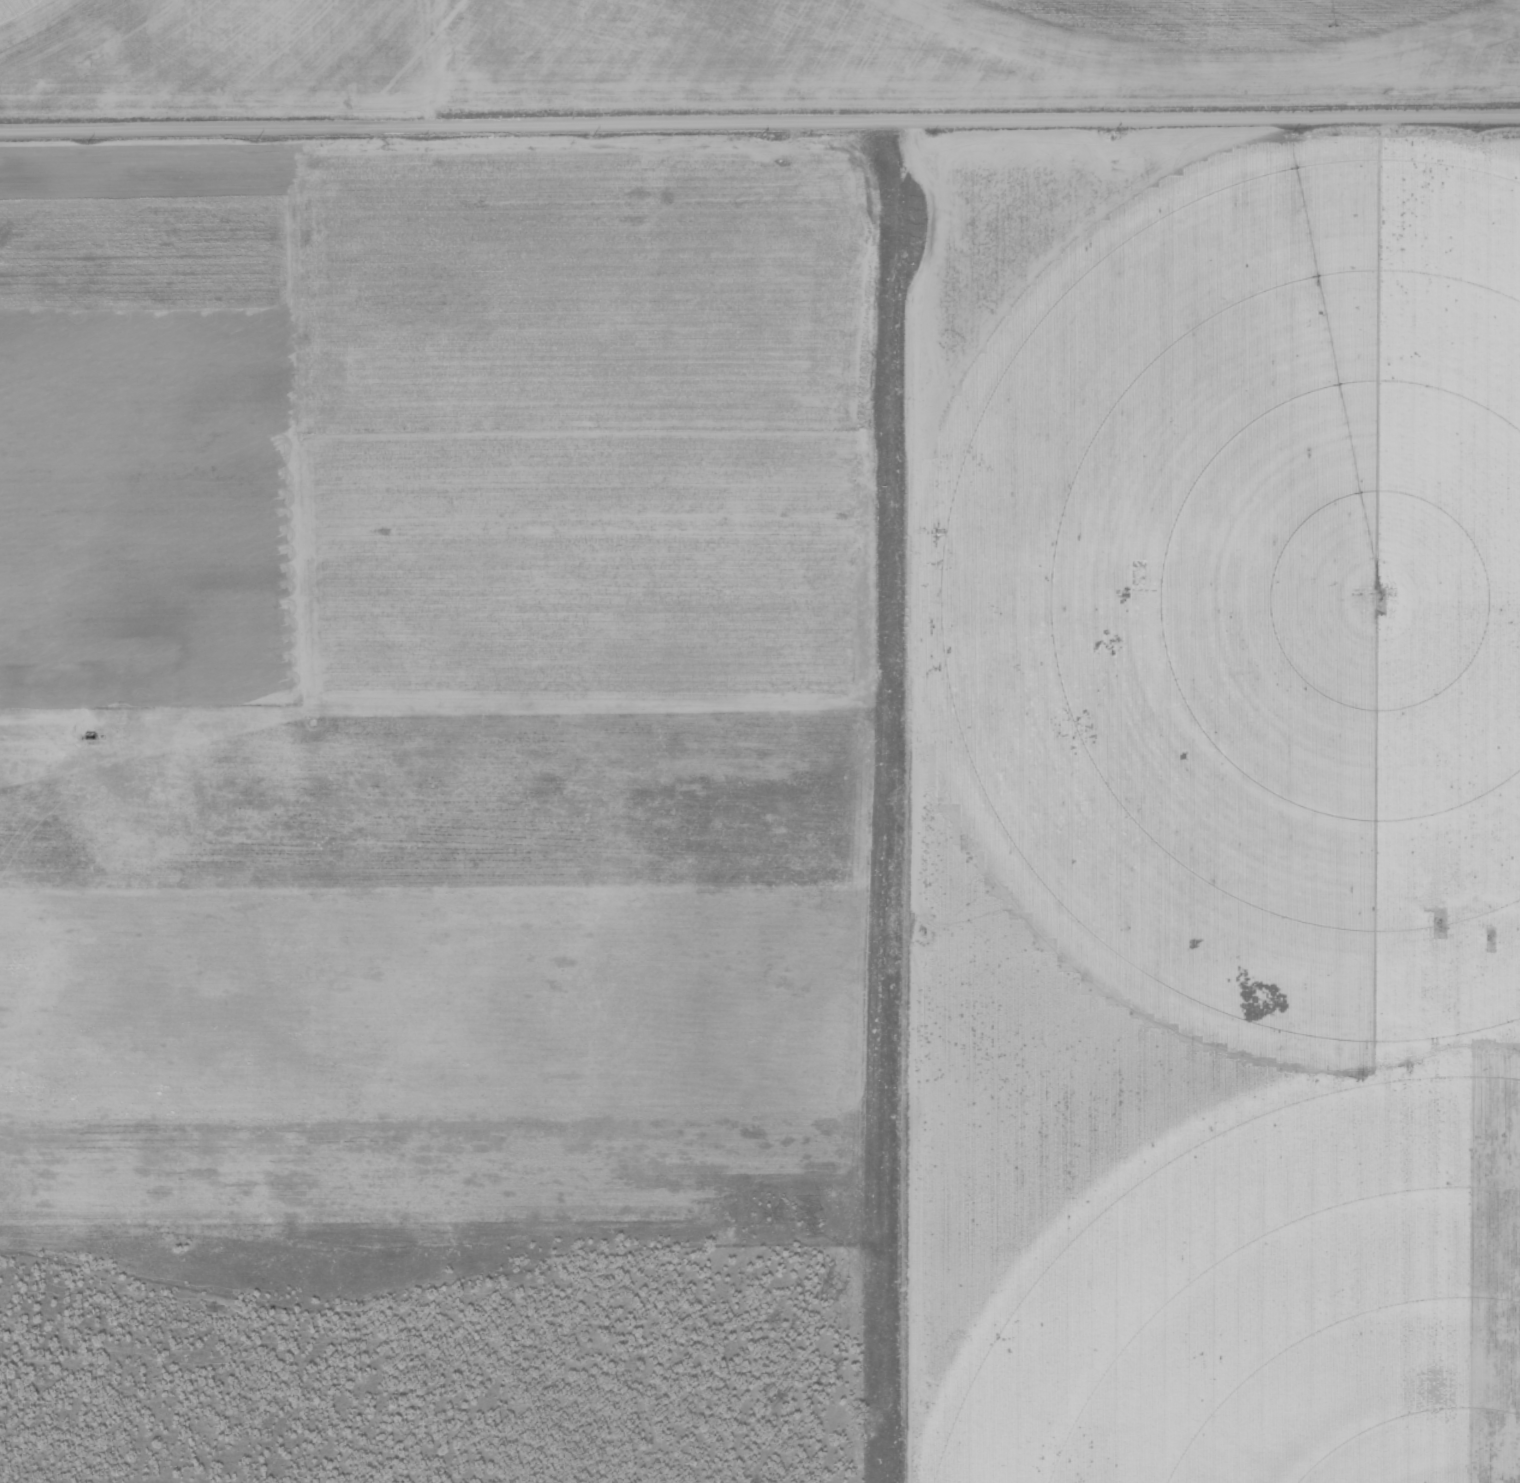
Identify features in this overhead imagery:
road: (759, 134)
road: (1508, 926)
road: (62, 1168)

